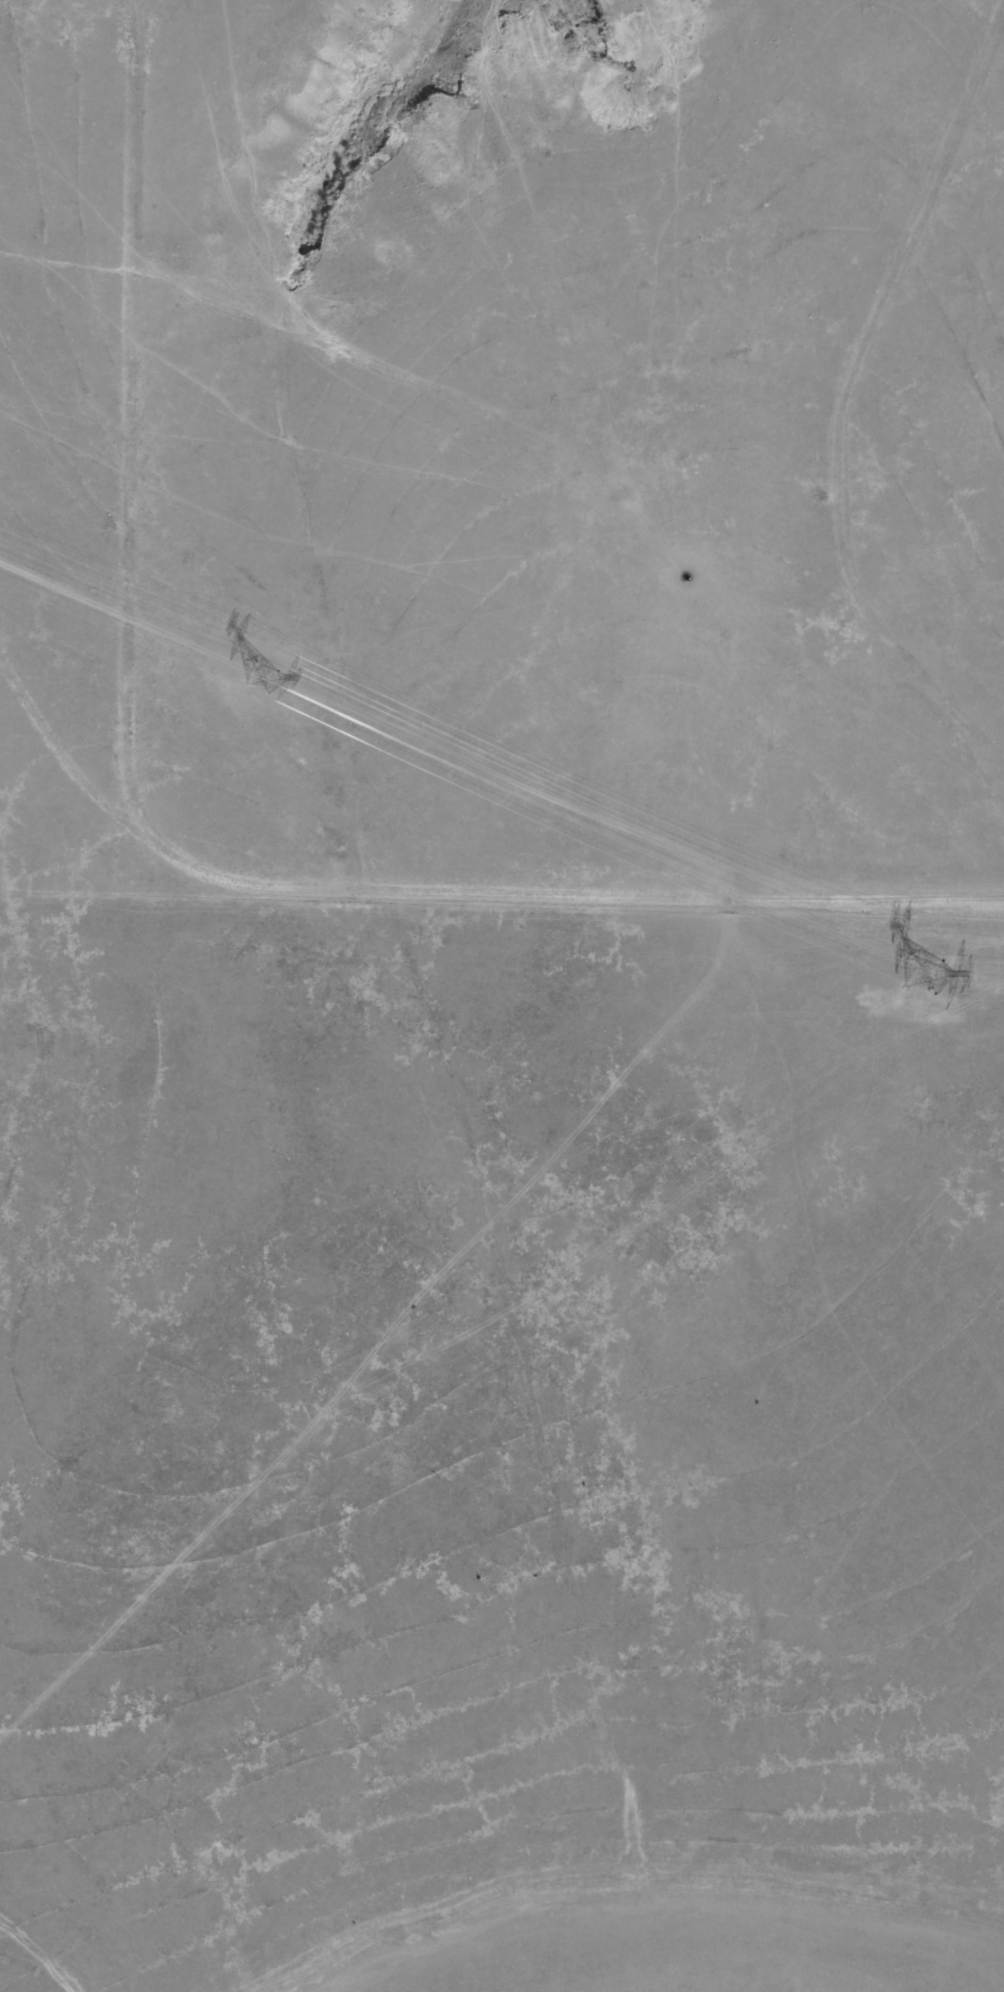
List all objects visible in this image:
road: (73, 11)
road: (67, 406)
road: (839, 415)
power tower: (263, 679)
road: (476, 909)
power tower: (927, 979)

